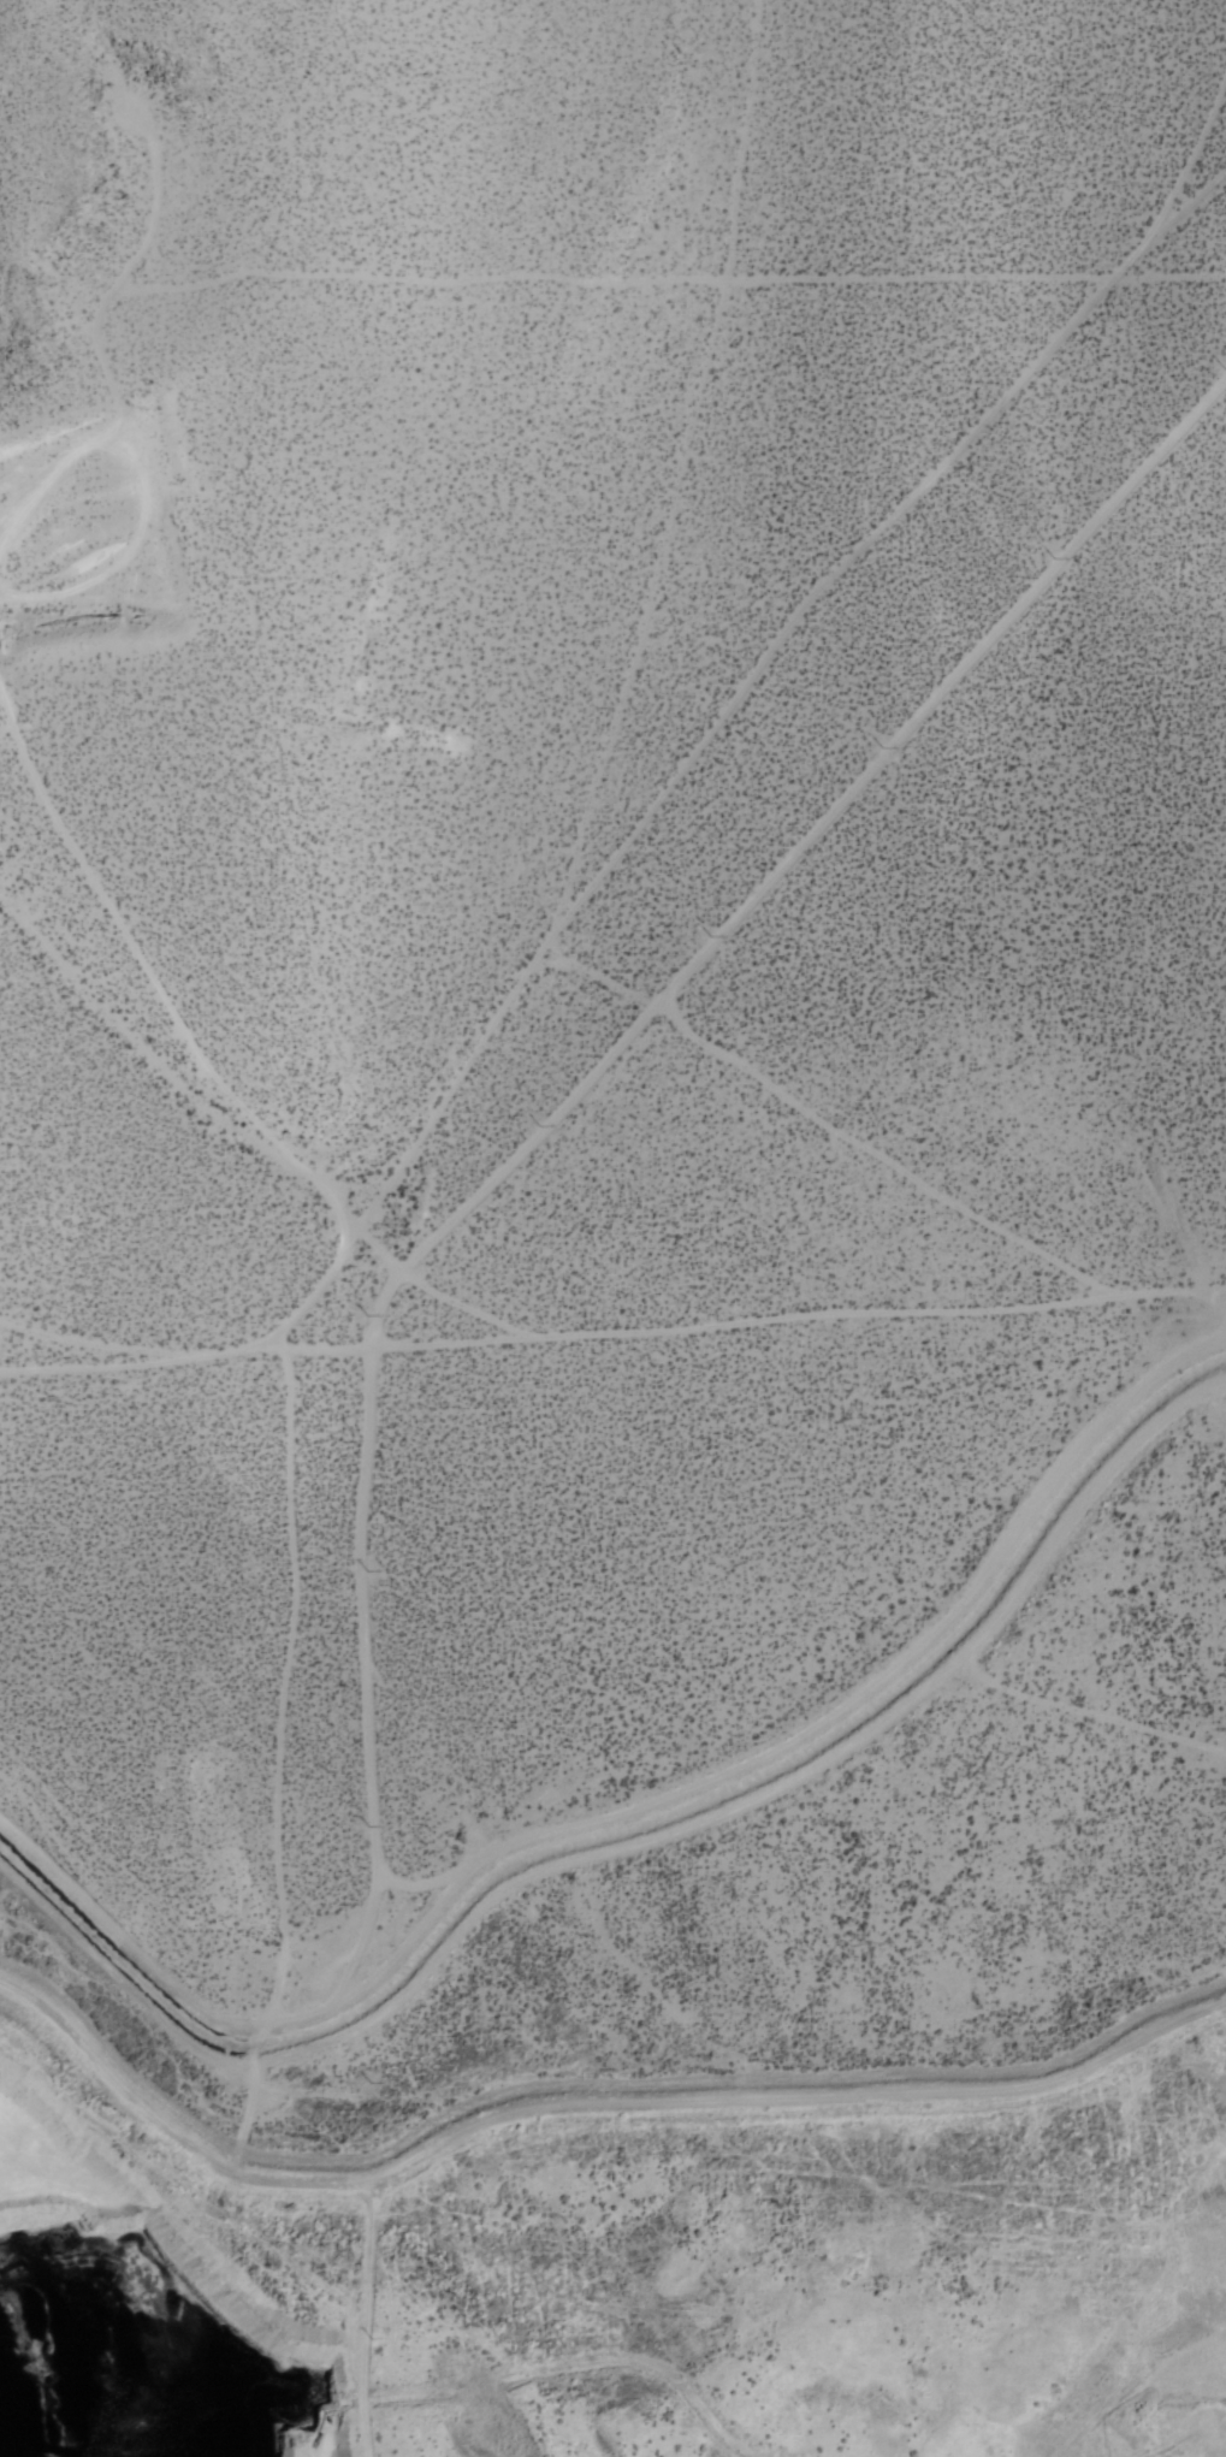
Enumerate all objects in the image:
road: (1197, 179)
road: (546, 272)
road: (692, 475)
road: (746, 671)
road: (106, 983)
road: (594, 1081)
road: (866, 1139)
road: (284, 1149)
road: (432, 1273)
road: (612, 1330)
road: (71, 1344)
road: (638, 1816)
road: (627, 1852)
road: (581, 2098)

